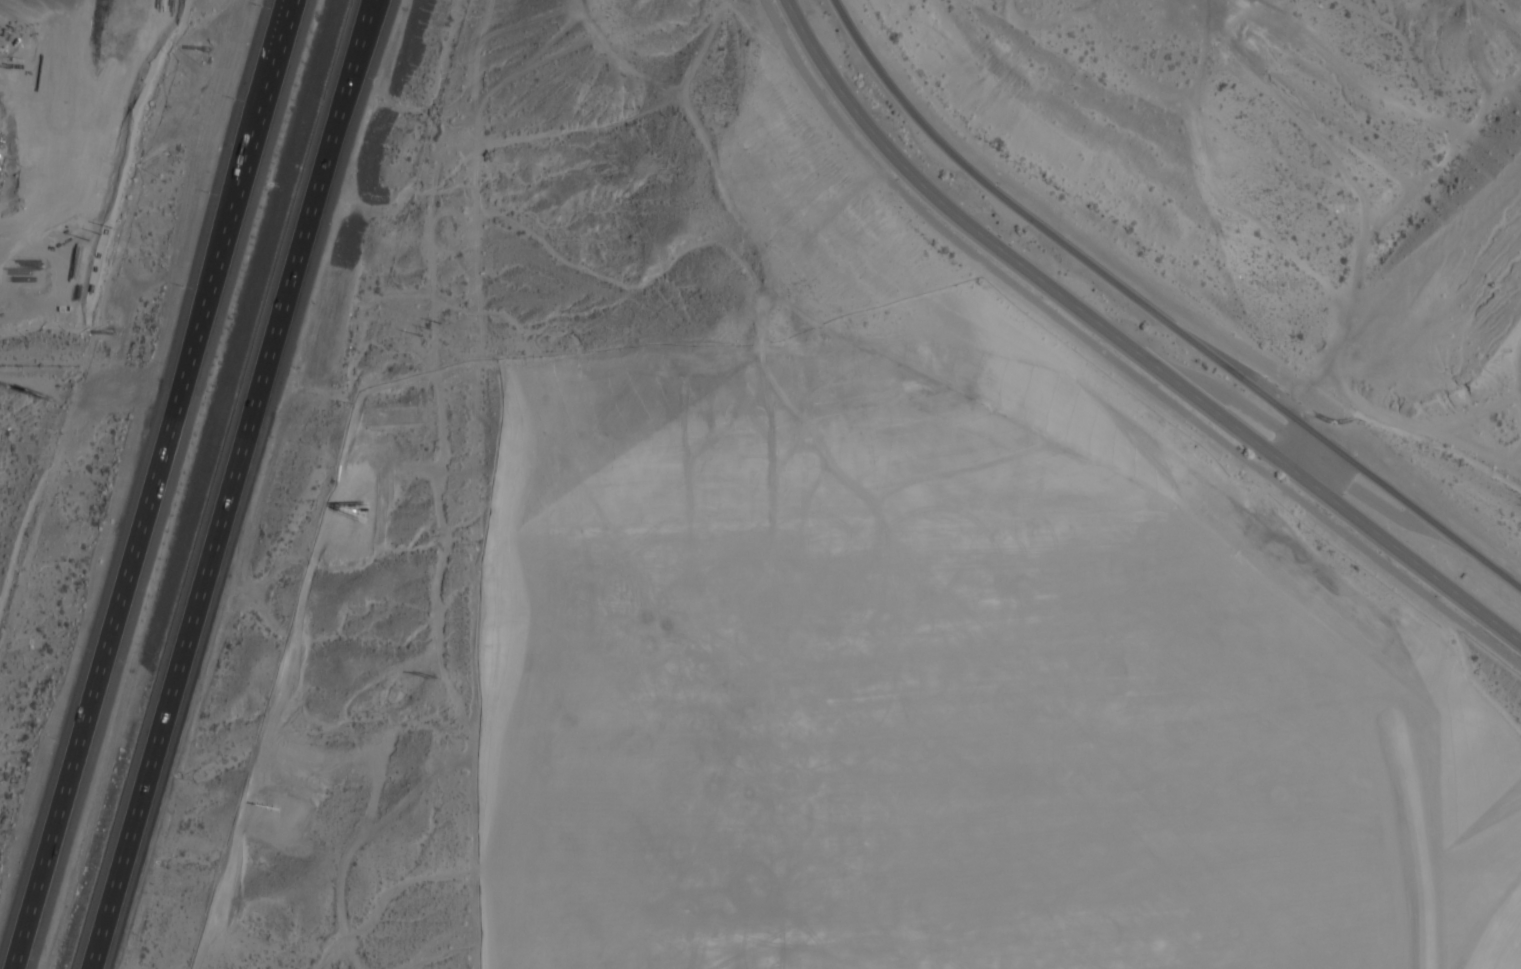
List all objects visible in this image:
road: (1157, 312)
road: (1128, 344)
road: (1112, 361)
road: (157, 470)
road: (238, 476)
road: (15, 954)
road: (98, 961)

